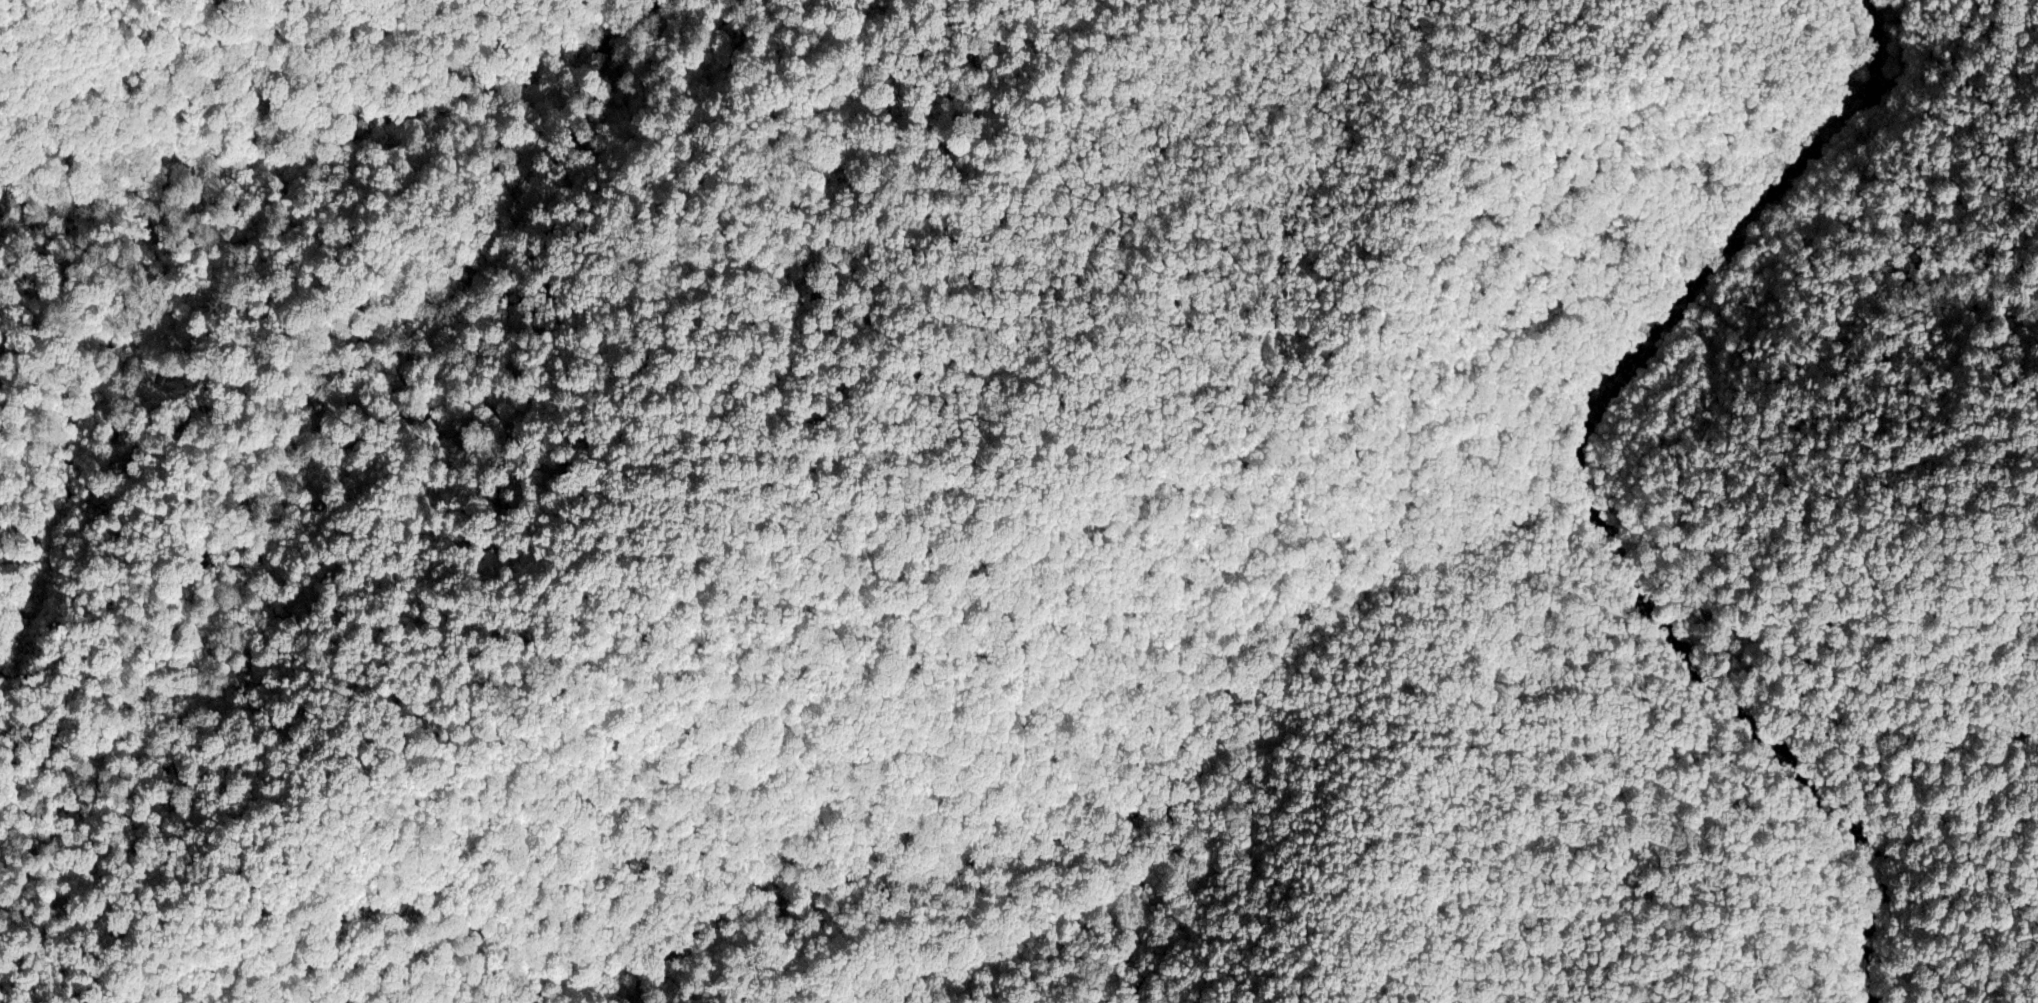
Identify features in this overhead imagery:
river: (1601, 492)
road: (1622, 494)

